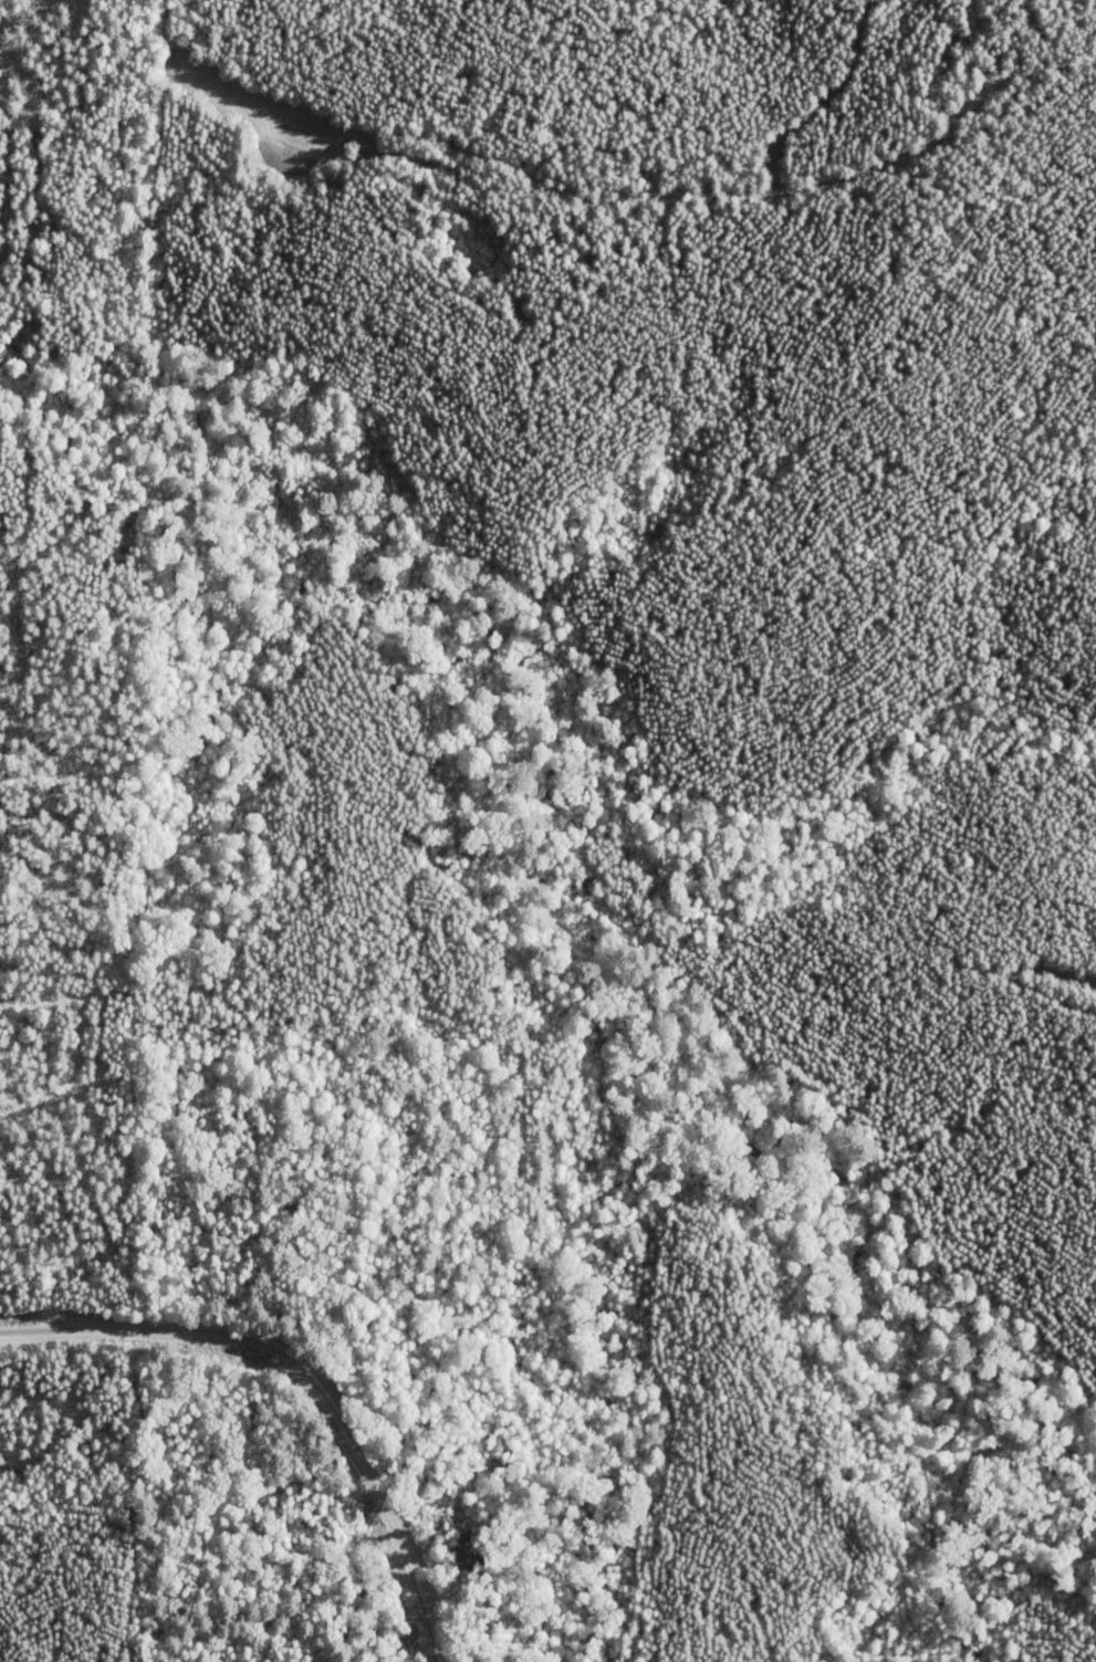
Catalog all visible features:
road: (317, 1380)

